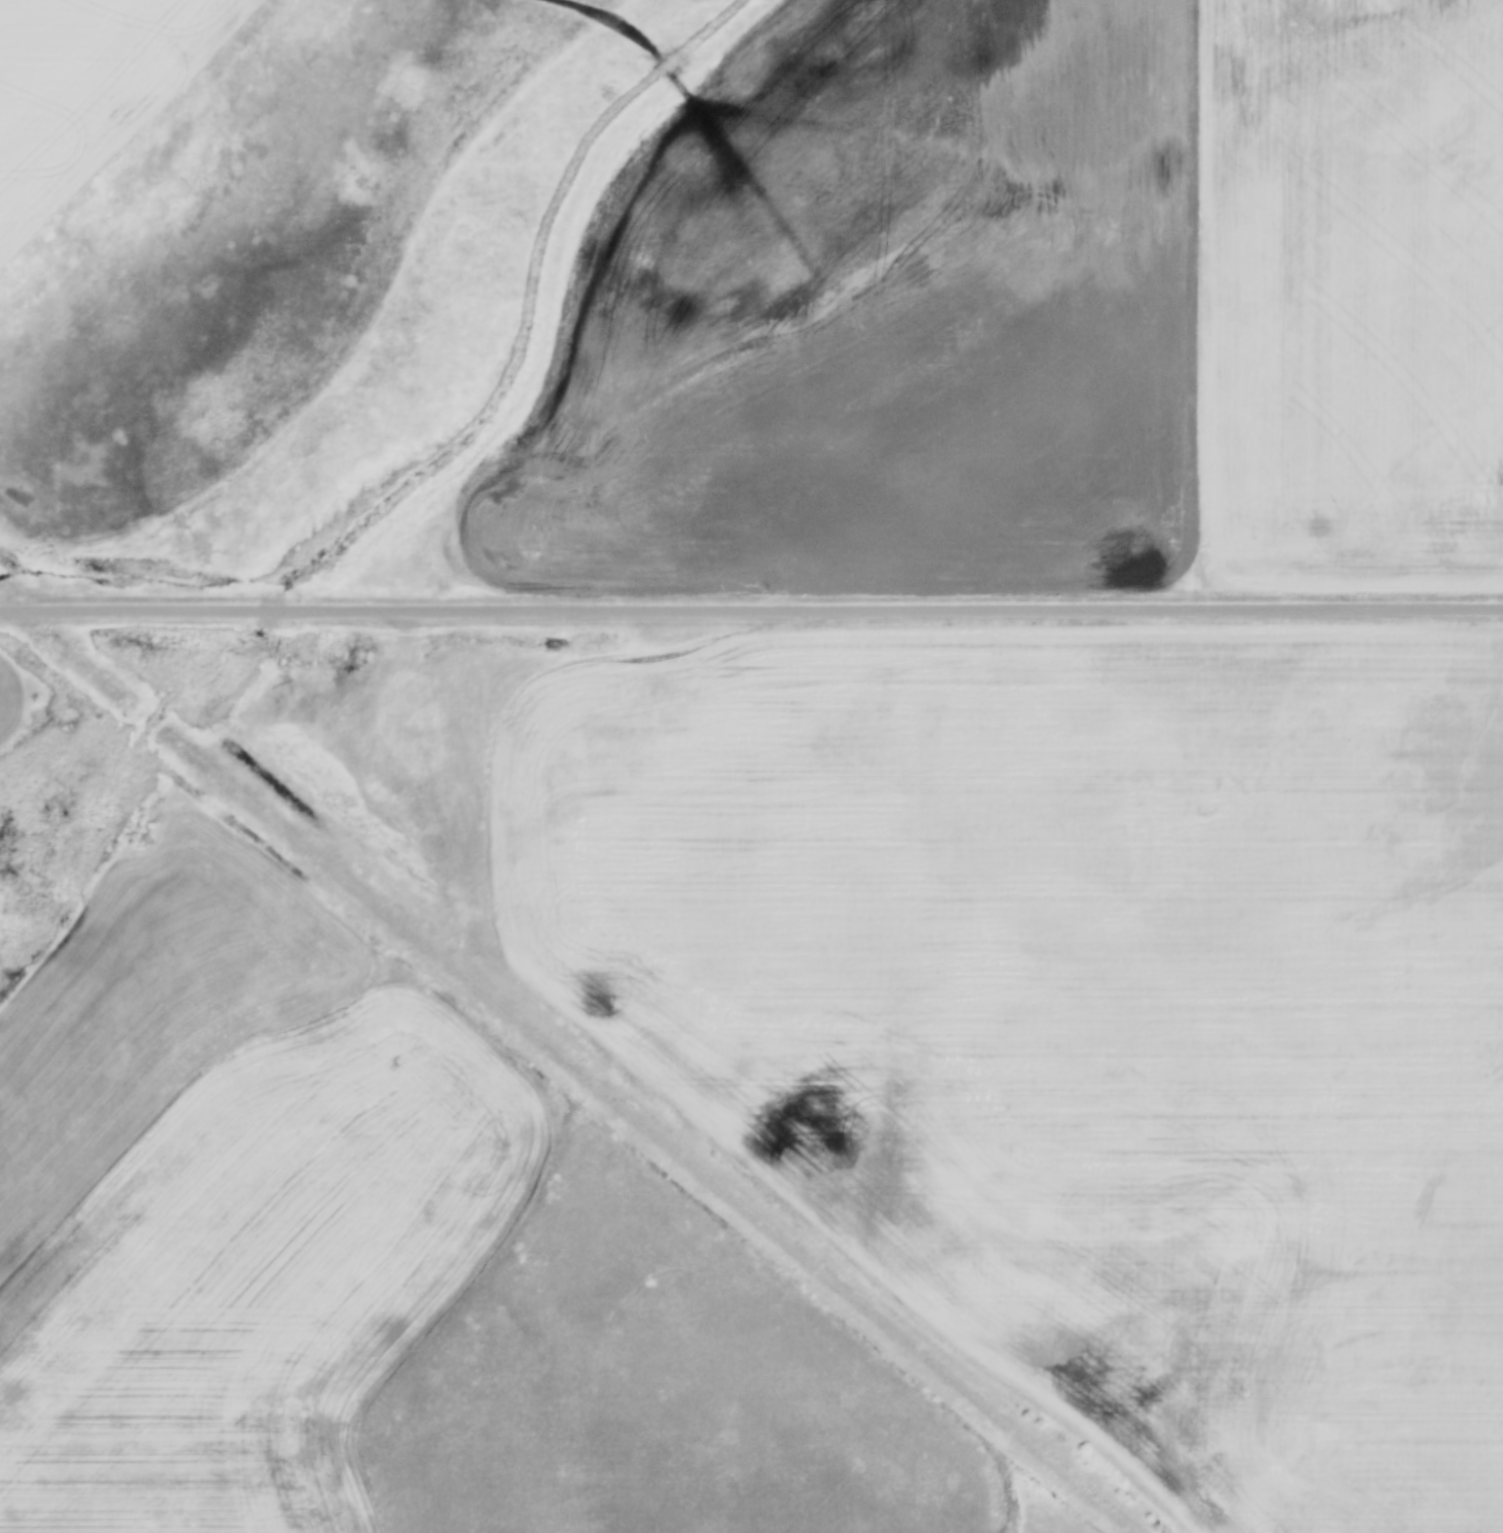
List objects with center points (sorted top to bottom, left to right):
road: (751, 602)

